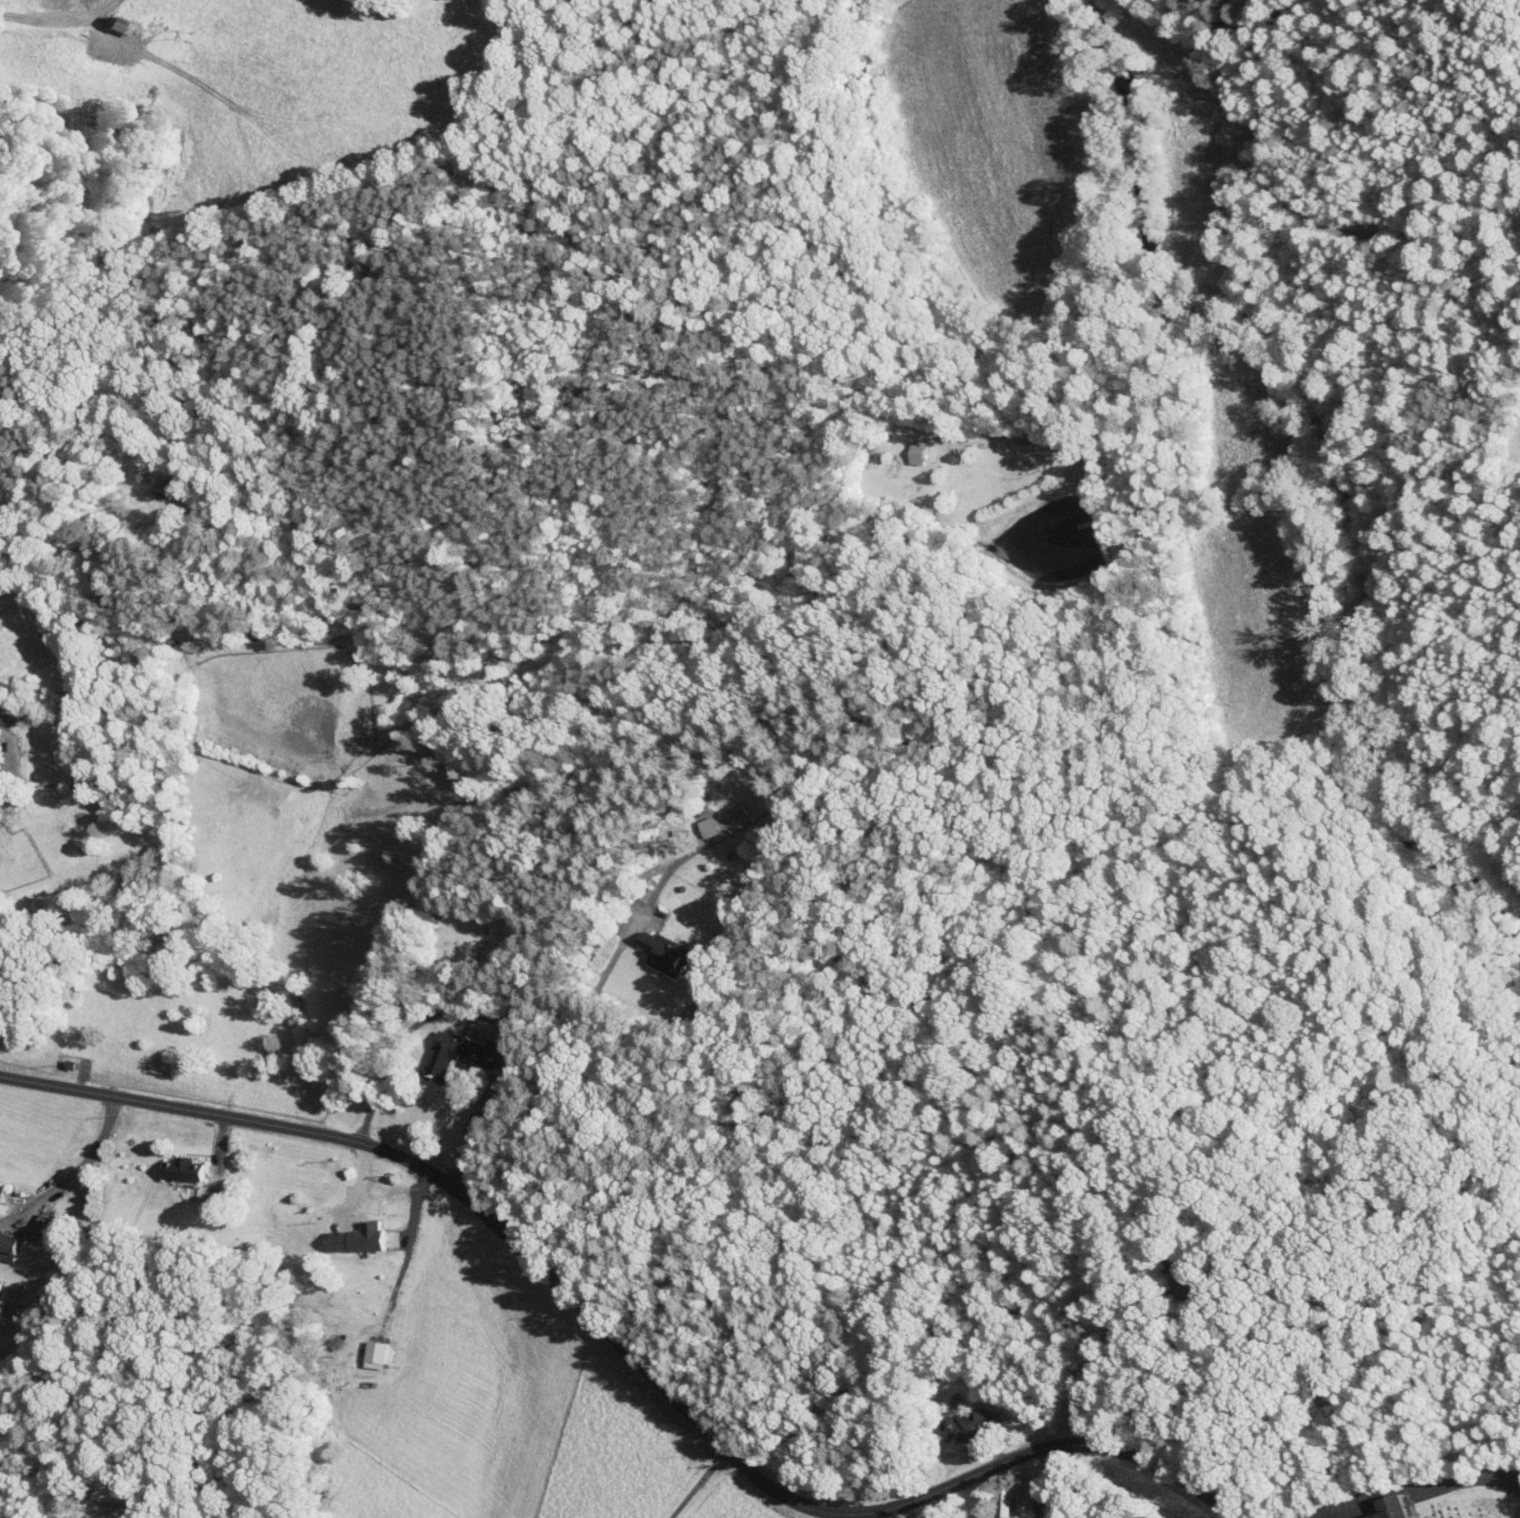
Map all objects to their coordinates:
building: (106, 17)
building: (909, 446)
building: (153, 482)
road: (2, 767)
building: (729, 806)
building: (700, 821)
building: (657, 947)
road: (406, 1032)
building: (456, 1047)
road: (557, 1067)
building: (176, 1164)
road: (71, 1172)
building: (35, 1224)
building: (352, 1232)
building: (4, 1242)
building: (367, 1349)
road: (623, 1350)
building: (970, 1420)
road: (699, 1484)
road: (1421, 1490)
building: (994, 1499)
park: (1469, 1504)

